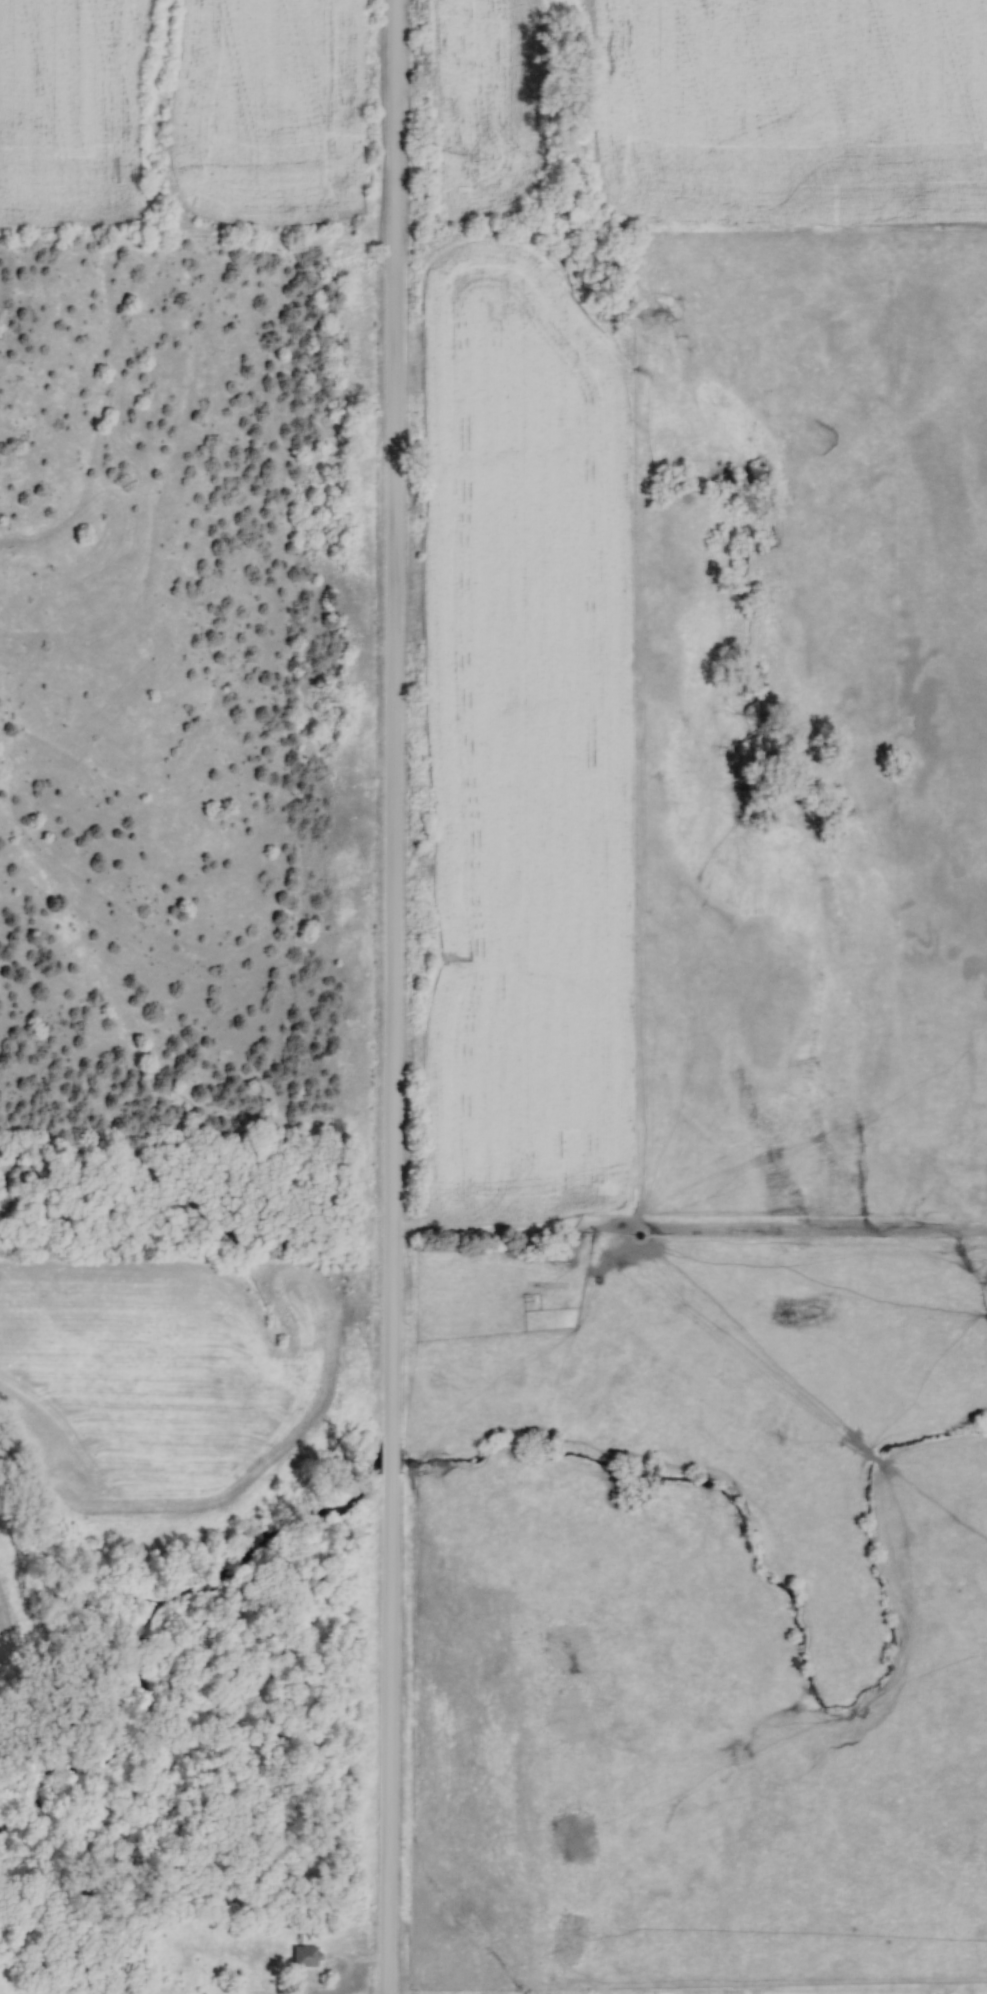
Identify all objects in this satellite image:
road: (388, 996)
road: (490, 1230)
building: (543, 1254)
building: (307, 1955)

